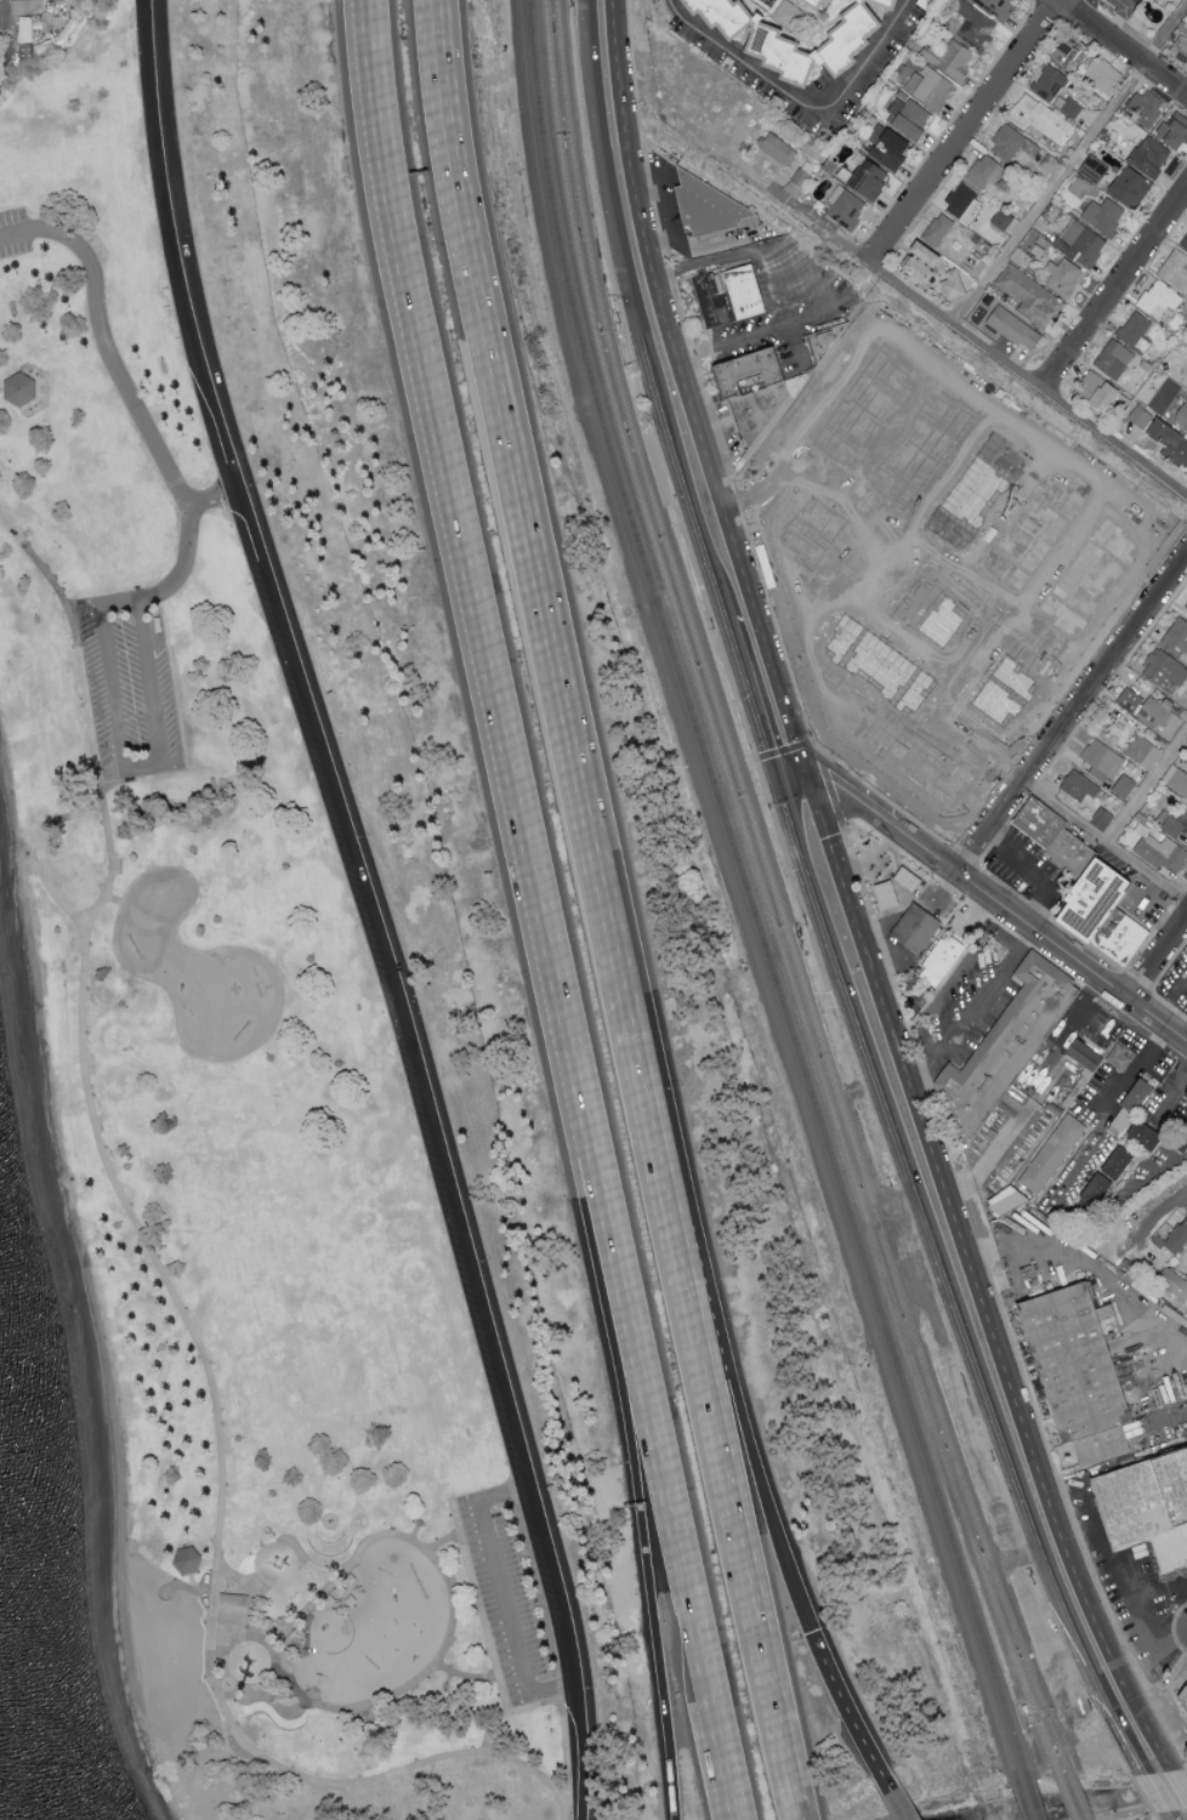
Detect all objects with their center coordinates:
building: (896, 1)
building: (817, 4)
building: (996, 6)
building: (1125, 7)
road: (13, 11)
building: (732, 16)
building: (973, 25)
building: (25, 33)
road: (12, 40)
building: (782, 45)
road: (1119, 49)
building: (1180, 49)
building: (1072, 52)
building: (952, 59)
building: (1103, 74)
building: (1050, 83)
building: (931, 87)
road: (799, 102)
building: (1067, 106)
building: (1146, 108)
building: (910, 118)
building: (1041, 119)
building: (1175, 130)
road: (966, 132)
building: (1009, 143)
building: (890, 147)
building: (779, 149)
building: (1151, 157)
road: (1070, 167)
building: (1095, 167)
building: (987, 172)
building: (871, 178)
building: (799, 181)
building: (1131, 187)
building: (965, 204)
building: (846, 207)
building: (1104, 215)
building: (711, 216)
road: (810, 216)
building: (1003, 220)
building: (939, 229)
parking lot: (13, 233)
building: (1080, 243)
building: (1185, 244)
road: (856, 252)
building: (925, 262)
building: (1175, 269)
building: (1064, 278)
building: (954, 284)
road: (1114, 288)
road: (823, 290)
building: (728, 296)
building: (1030, 296)
building: (1160, 298)
road: (636, 313)
railway: (577, 328)
building: (1015, 329)
railway: (566, 330)
building: (1136, 331)
road: (794, 343)
building: (822, 343)
building: (1114, 358)
road: (922, 365)
building: (749, 372)
road: (681, 379)
road: (1029, 382)
building: (19, 391)
road: (1, 392)
building: (1101, 392)
building: (761, 413)
building: (862, 413)
road: (141, 414)
building: (1182, 417)
road: (876, 437)
building: (779, 439)
building: (1171, 442)
building: (920, 455)
building: (757, 468)
building: (0, 473)
road: (948, 473)
road: (790, 494)
road: (215, 495)
building: (973, 497)
road: (990, 522)
building: (813, 530)
building: (1032, 539)
road: (836, 544)
road: (844, 548)
road: (935, 554)
building: (939, 562)
road: (1058, 562)
road: (886, 571)
road: (916, 571)
road: (975, 571)
building: (793, 576)
building: (1086, 580)
road: (536, 607)
road: (471, 616)
building: (933, 616)
road: (879, 619)
road: (790, 629)
building: (1177, 638)
road: (955, 664)
building: (879, 665)
building: (1165, 670)
building: (857, 686)
parking lot: (132, 687)
road: (750, 687)
building: (1003, 693)
building: (1130, 700)
road: (956, 709)
road: (1068, 712)
building: (833, 715)
building: (1160, 716)
road: (924, 746)
building: (1143, 751)
building: (1102, 761)
road: (143, 764)
building: (918, 764)
road: (805, 767)
road: (778, 772)
building: (1176, 779)
building: (1079, 785)
building: (1125, 786)
road: (796, 787)
traffic signals: (811, 787)
road: (1145, 787)
traffic signals: (782, 789)
road: (828, 792)
road: (868, 812)
building: (1102, 820)
building: (1176, 825)
building: (1055, 834)
road: (1102, 842)
road: (38, 853)
road: (854, 865)
road: (1035, 876)
building: (909, 881)
railway: (771, 885)
railway: (760, 888)
road: (898, 889)
building: (887, 895)
road: (1145, 898)
road: (377, 906)
building: (1107, 912)
road: (884, 923)
building: (916, 929)
road: (1038, 937)
road: (1157, 960)
building: (943, 962)
road: (952, 979)
road: (1170, 999)
parking lot: (385, 1000)
road: (967, 1006)
building: (1006, 1051)
building: (1121, 1059)
road: (1134, 1068)
park: (228, 1098)
building: (1134, 1107)
road: (1026, 1114)
building: (1147, 1137)
building: (1182, 1142)
building: (1053, 1156)
building: (1119, 1165)
road: (1158, 1176)
building: (993, 1184)
building: (1097, 1190)
building: (1010, 1200)
building: (989, 1204)
road: (1162, 1207)
railway: (846, 1208)
railway: (835, 1212)
building: (1174, 1241)
building: (1129, 1267)
building: (1147, 1269)
road: (1081, 1272)
building: (1174, 1284)
road: (976, 1286)
road: (167, 1290)
road: (947, 1290)
building: (1081, 1372)
building: (1165, 1400)
road: (732, 1423)
road: (654, 1464)
building: (1149, 1508)
road: (726, 1515)
road: (642, 1525)
road: (442, 1543)
building: (187, 1562)
road: (500, 1593)
road: (1140, 1597)
parking lot: (505, 1603)
building: (233, 1606)
road: (477, 1608)
road: (1149, 1632)
road: (425, 1674)
road: (464, 1679)
road: (560, 1697)
building: (1185, 1701)
road: (553, 1704)
road: (1169, 1707)
road: (842, 1713)
road: (716, 1759)
road: (1180, 1784)
railway: (1074, 1786)
railway: (1062, 1788)
railway: (1030, 1795)
railway: (1020, 1796)
road: (1157, 1796)
road: (574, 1798)
road: (892, 1805)
road: (562, 1809)
road: (1168, 1816)

